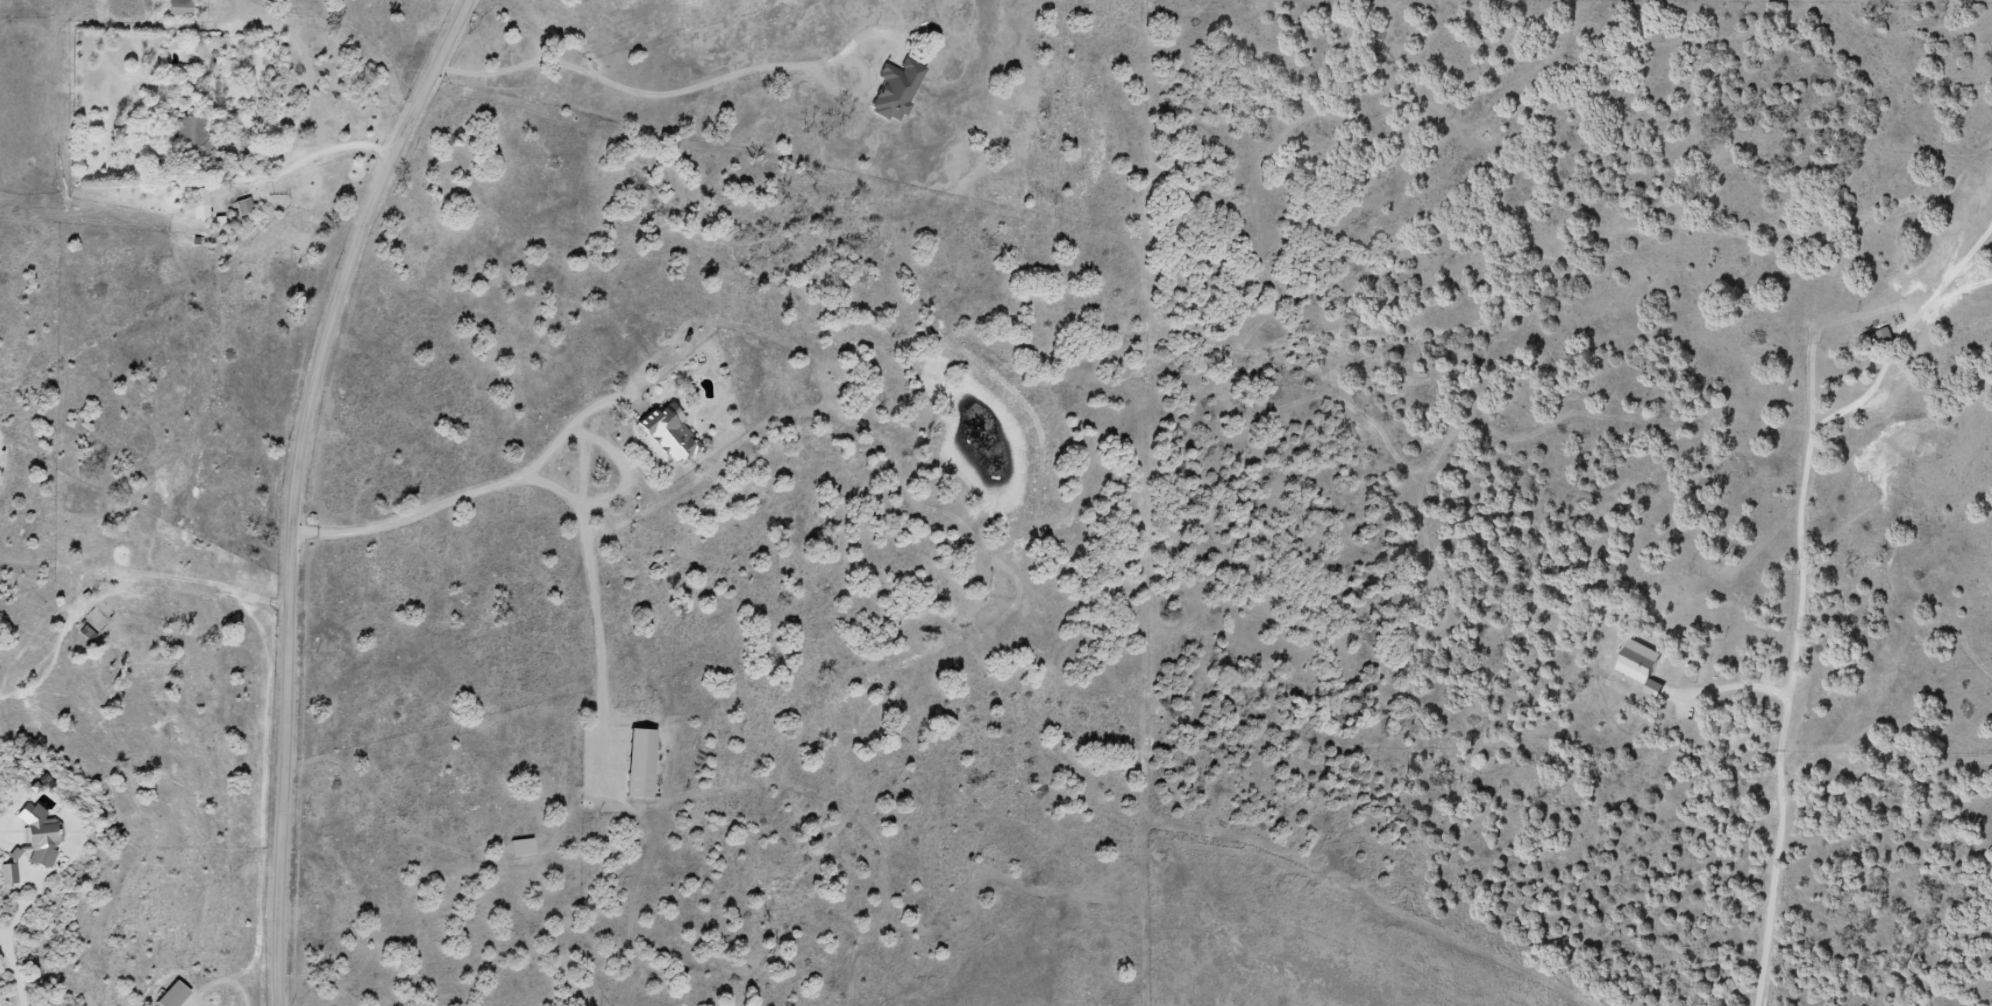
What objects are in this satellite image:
building: (179, 8)
building: (896, 91)
building: (192, 138)
building: (200, 198)
building: (245, 208)
building: (1884, 337)
building: (667, 436)
road: (295, 482)
road: (1891, 487)
building: (1640, 667)
building: (639, 765)
building: (39, 838)
building: (522, 849)
building: (8, 875)
building: (173, 996)

